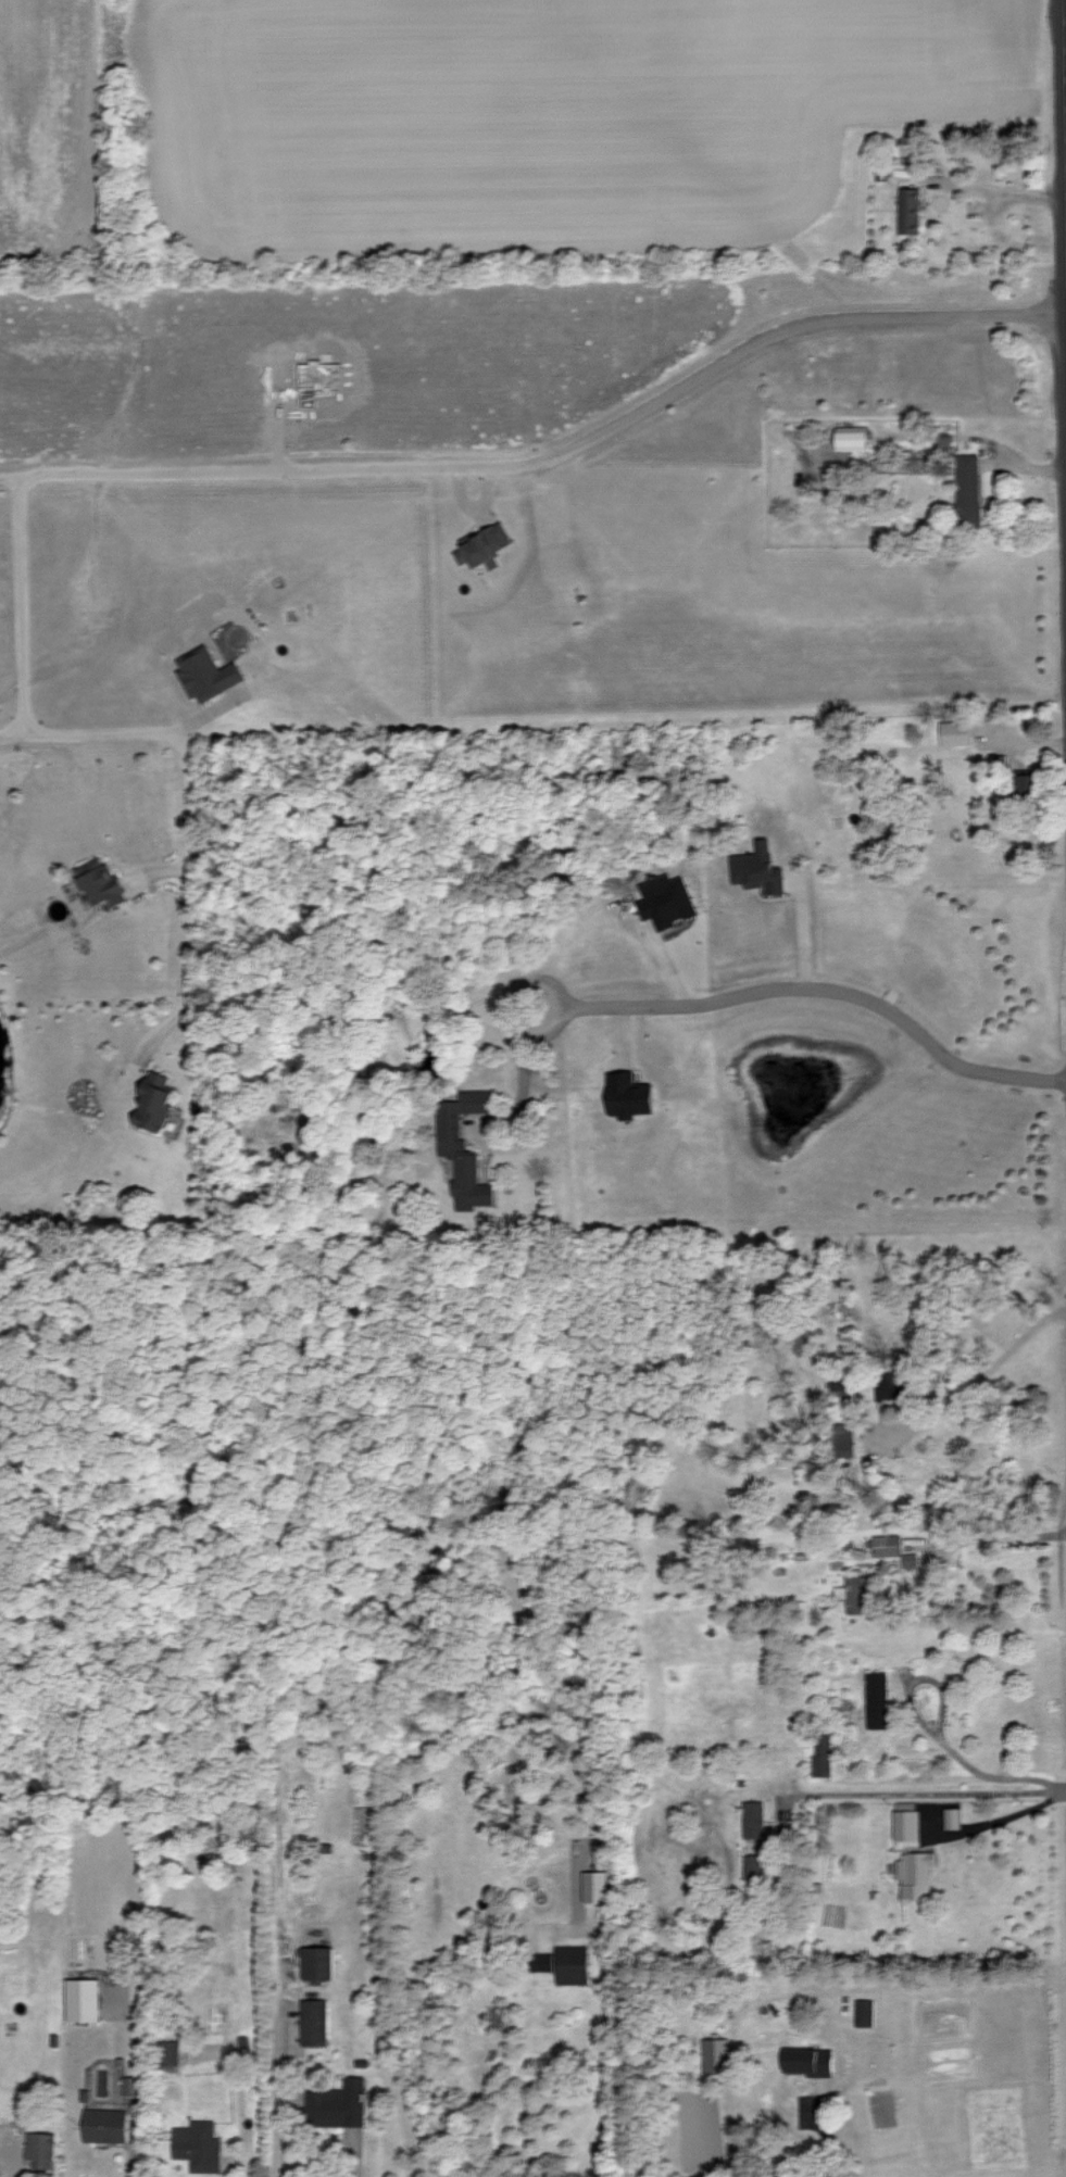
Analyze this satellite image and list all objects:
road: (1012, 194)
building: (910, 210)
building: (852, 438)
road: (550, 461)
building: (968, 490)
building: (484, 545)
road: (23, 604)
building: (208, 674)
road: (13, 732)
building: (955, 732)
building: (1023, 788)
road: (191, 795)
building: (758, 868)
building: (100, 882)
building: (666, 901)
road: (803, 934)
road: (829, 989)
road: (555, 1035)
building: (628, 1095)
building: (154, 1102)
building: (464, 1147)
building: (841, 1384)
building: (893, 1386)
building: (843, 1439)
road: (993, 1538)
building: (885, 1545)
building: (910, 1560)
building: (855, 1594)
road: (920, 1679)
building: (878, 1699)
building: (823, 1758)
road: (999, 1777)
road: (920, 1794)
building: (953, 1817)
building: (754, 1819)
road: (985, 1823)
building: (907, 1824)
building: (754, 1866)
building: (916, 1873)
building: (597, 1886)
building: (318, 1963)
building: (573, 1964)
building: (84, 1999)
building: (865, 2012)
building: (314, 2022)
building: (172, 2052)
building: (716, 2055)
building: (810, 2062)
building: (131, 2086)
road: (279, 2089)
building: (338, 2104)
building: (105, 2125)
building: (198, 2145)
building: (40, 2149)

